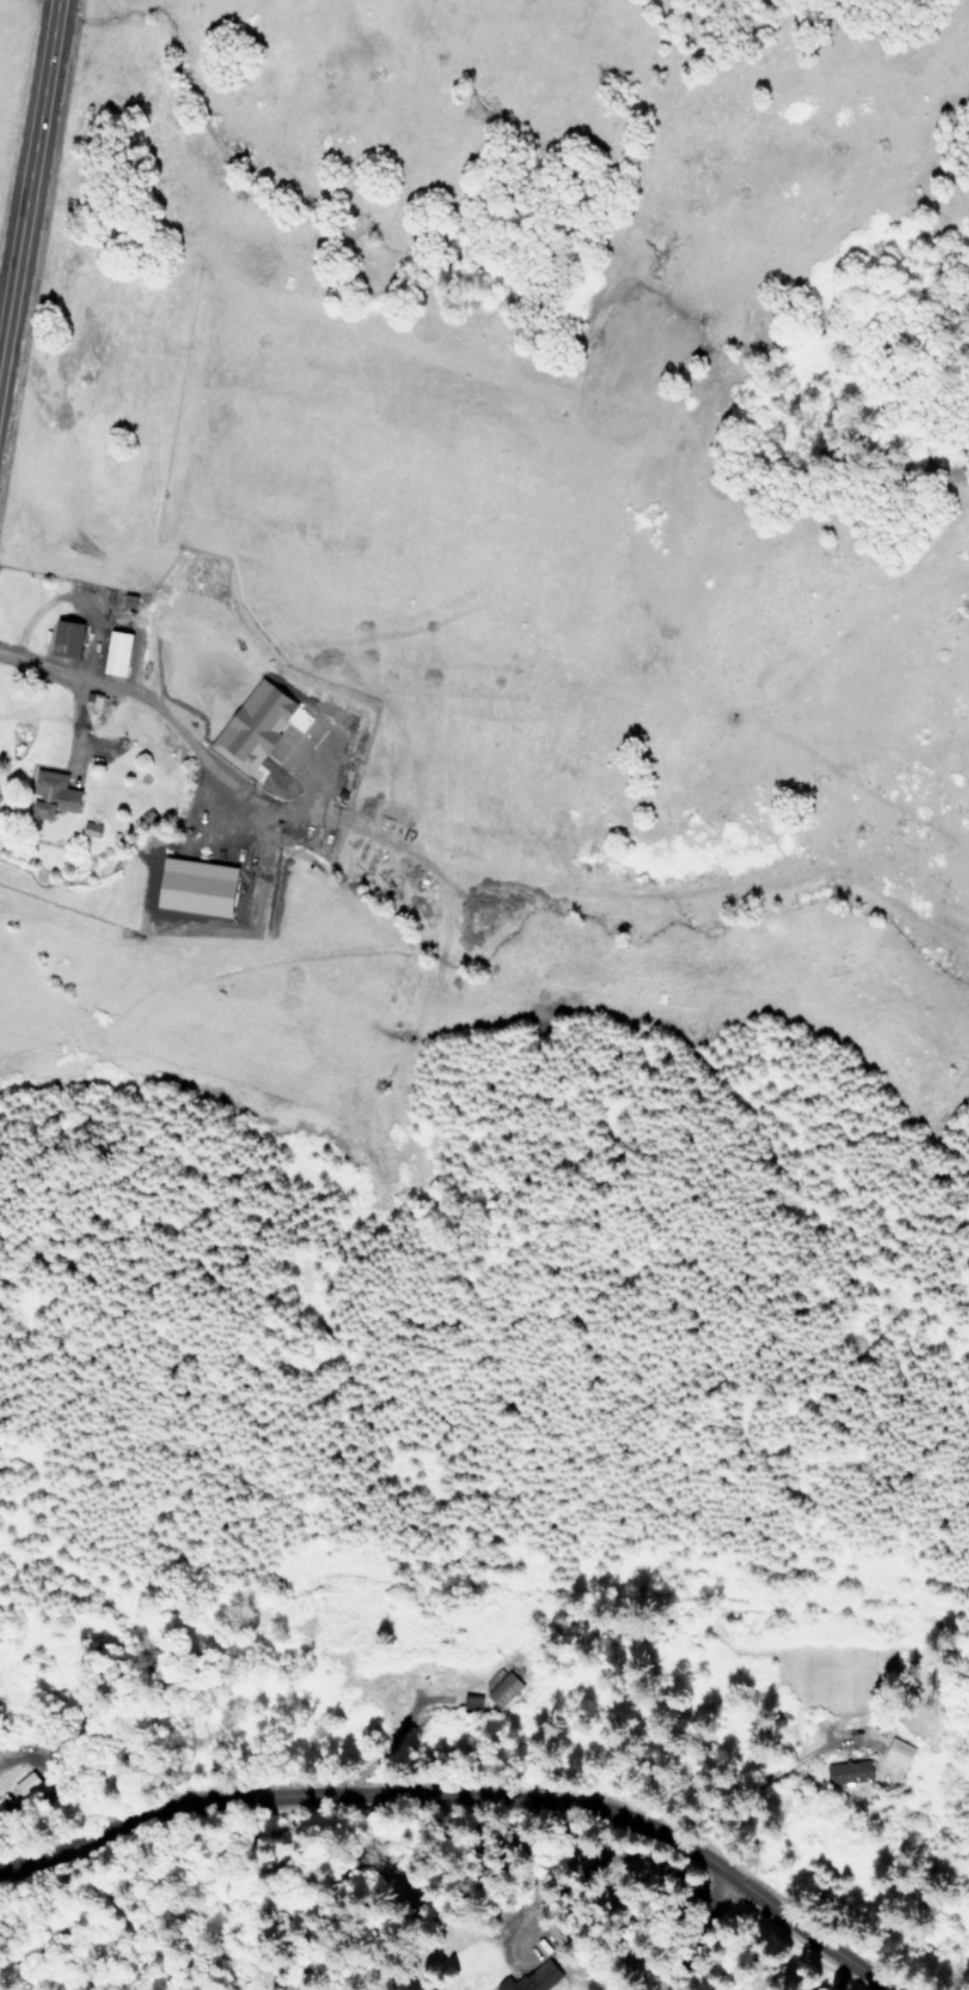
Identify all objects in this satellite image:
crop: (3, 19)
road: (29, 172)
road: (74, 599)
building: (68, 638)
building: (118, 652)
road: (142, 700)
building: (93, 701)
building: (255, 725)
building: (53, 793)
building: (91, 828)
building: (199, 886)
road: (32, 1193)
building: (503, 1689)
building: (472, 1702)
building: (897, 1754)
road: (18, 1759)
building: (847, 1773)
road: (483, 1776)
building: (25, 1783)
road: (508, 1883)
building: (531, 1979)

